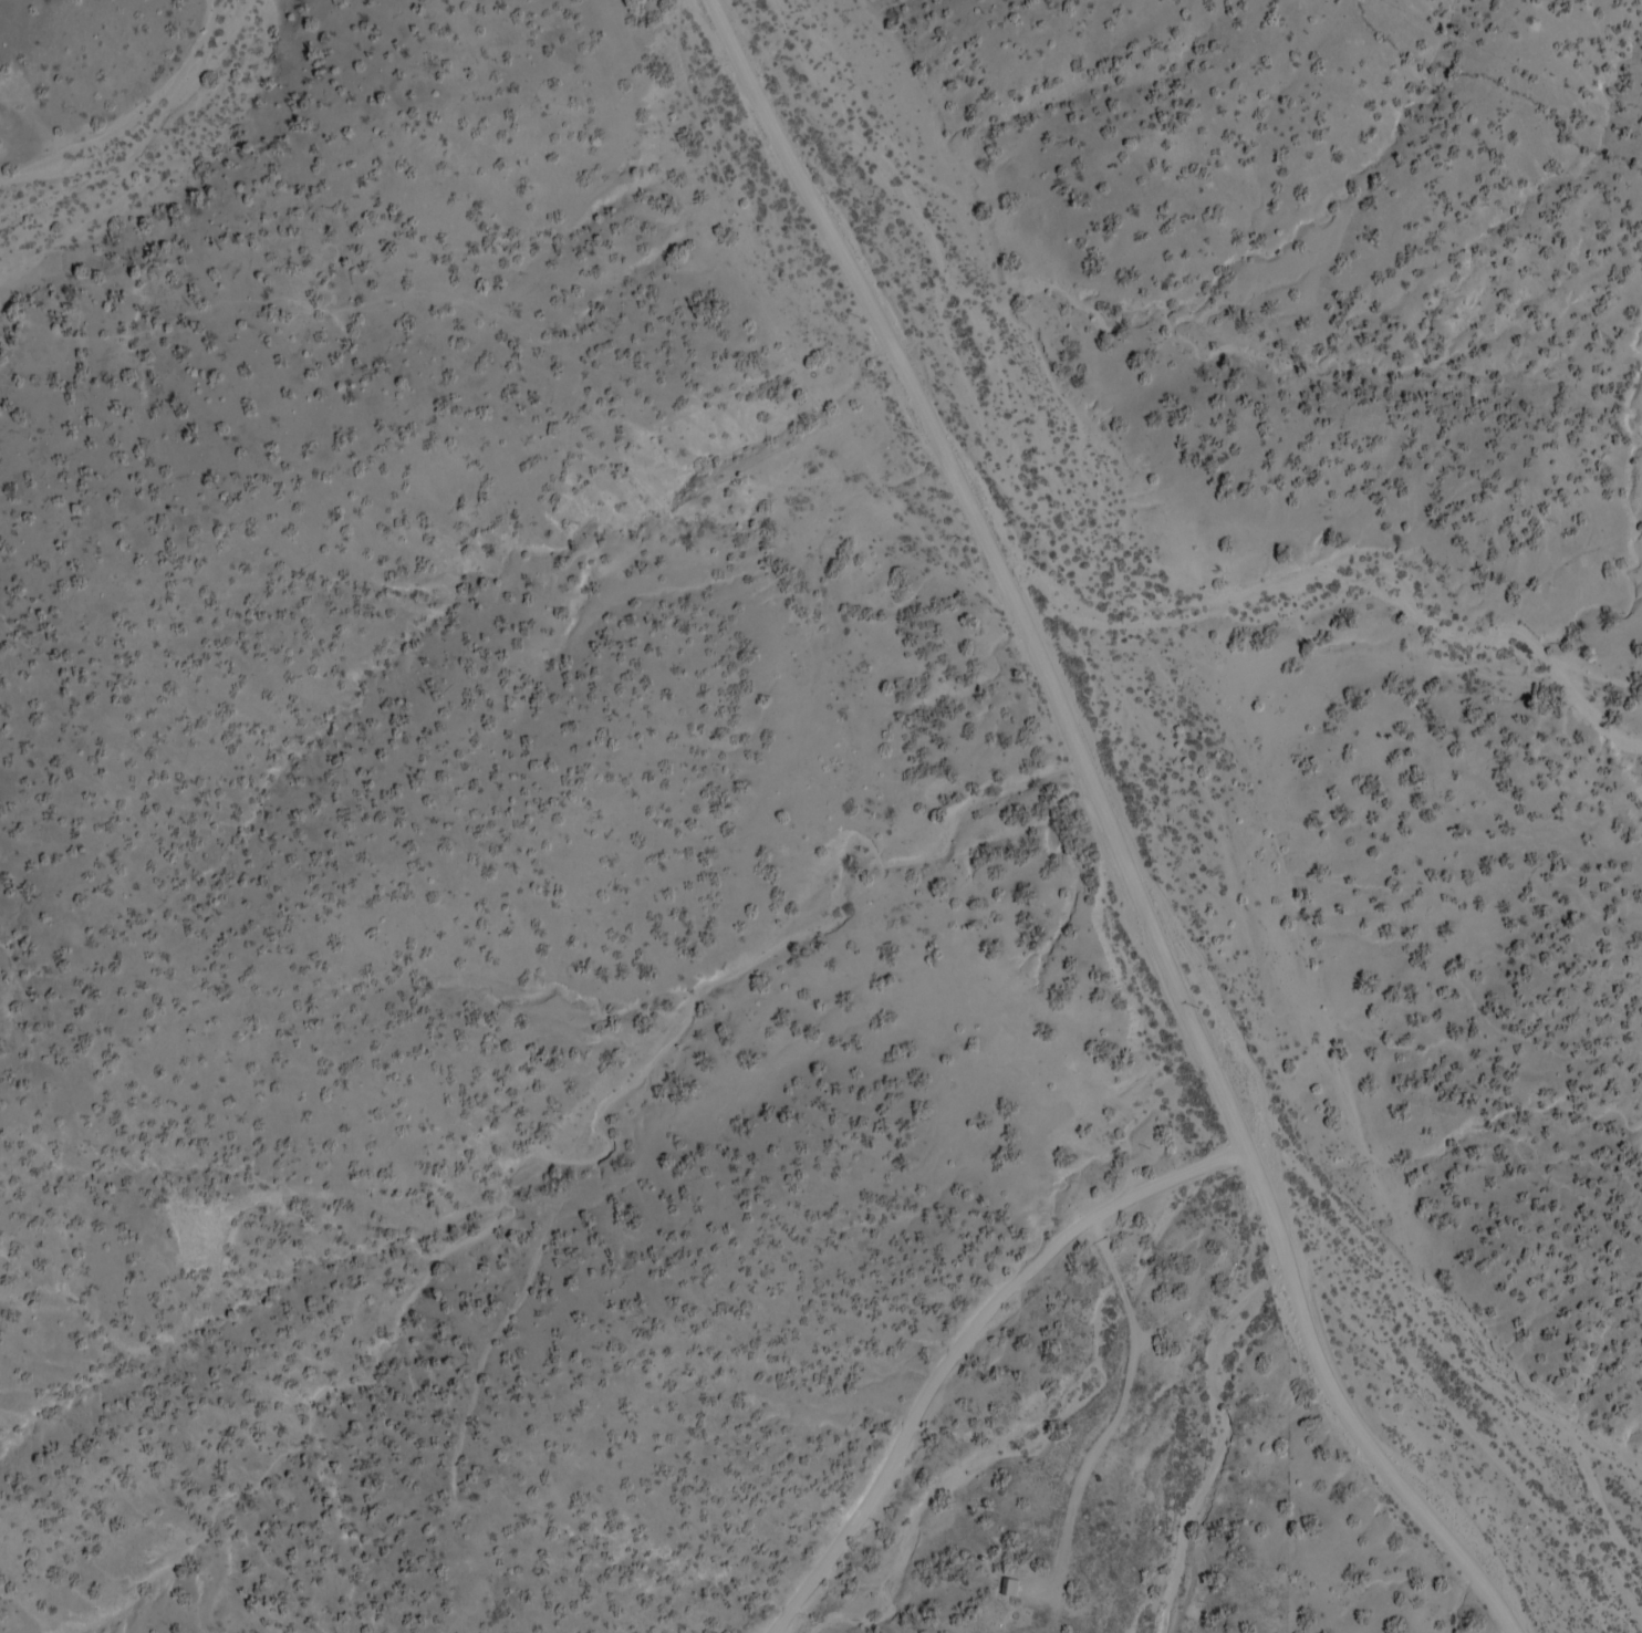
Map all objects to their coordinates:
road: (914, 366)
road: (1279, 1205)
road: (967, 1332)
road: (1123, 1404)
building: (1017, 1578)
building: (1022, 1588)

